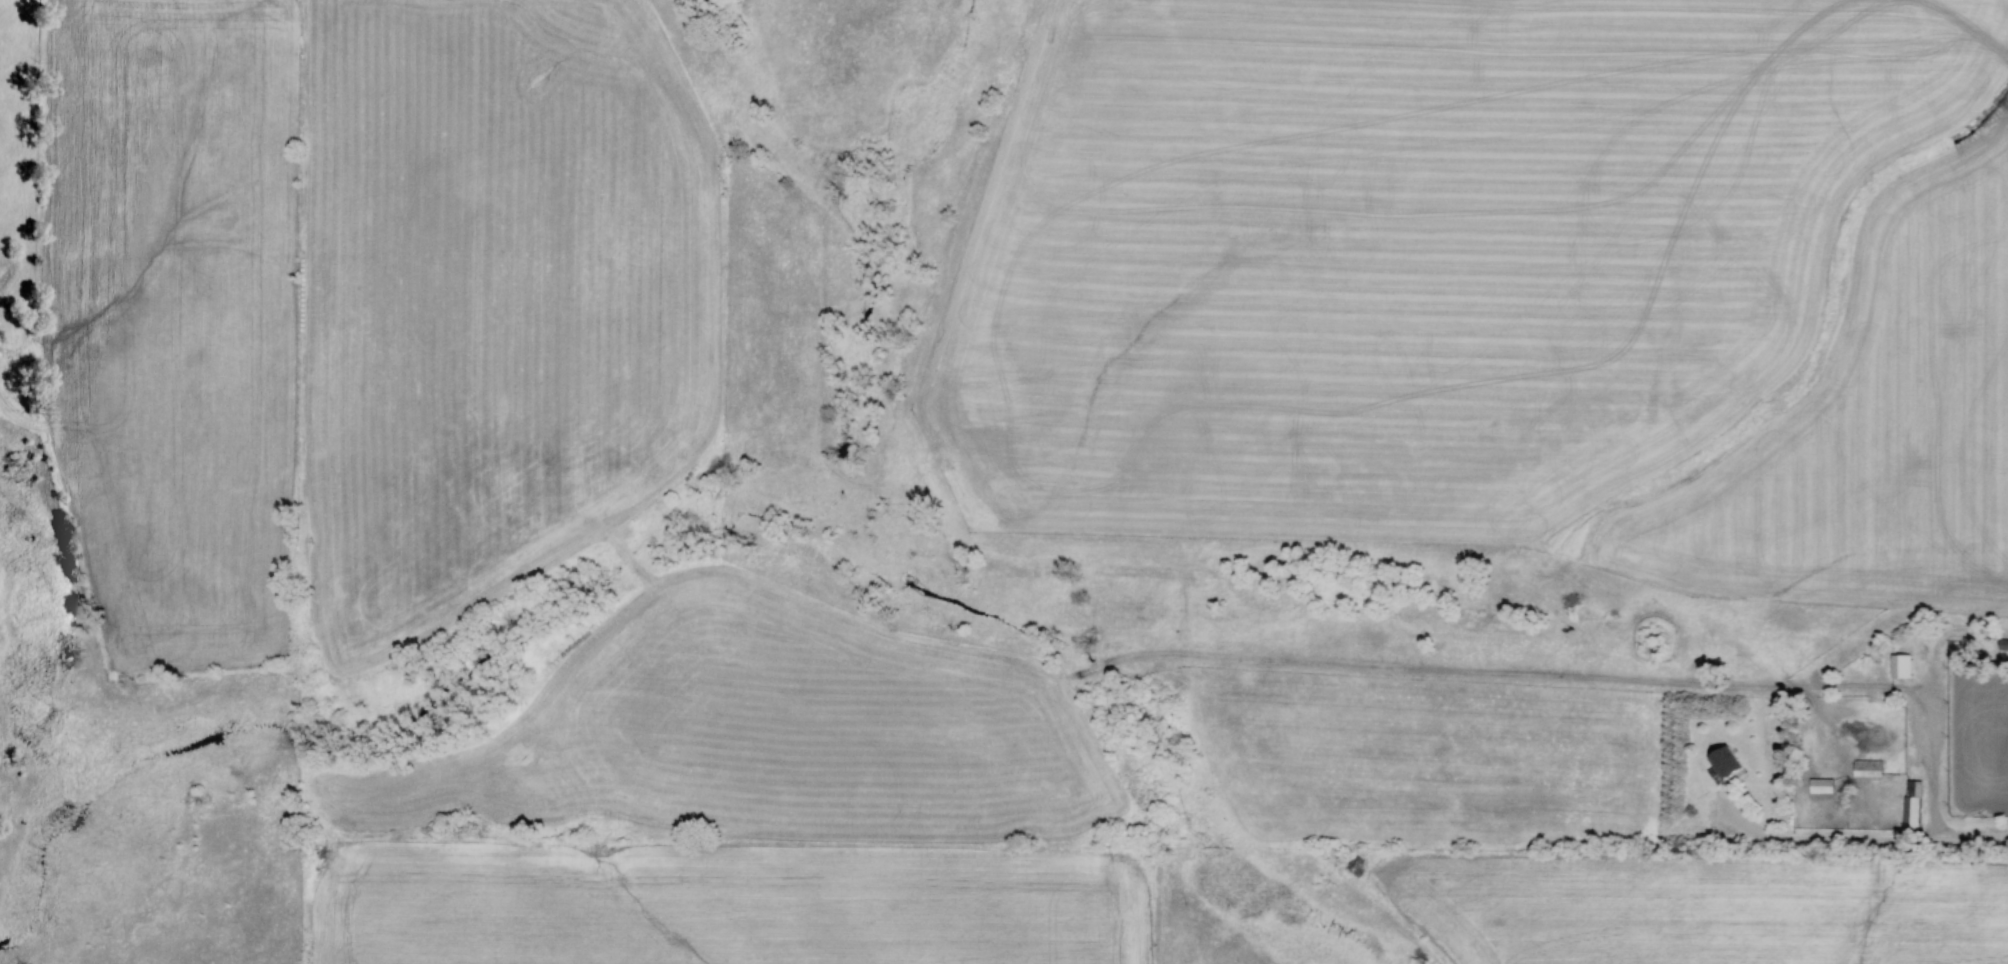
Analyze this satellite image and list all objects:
building: (1903, 666)
building: (1729, 764)
building: (1869, 768)
building: (1914, 806)
road: (1857, 842)

